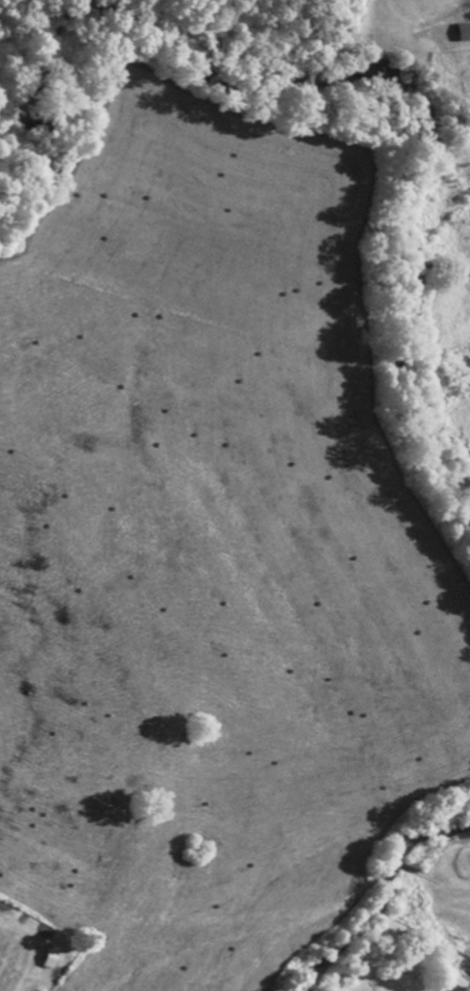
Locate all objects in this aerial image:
building: (460, 35)
building: (45, 961)

